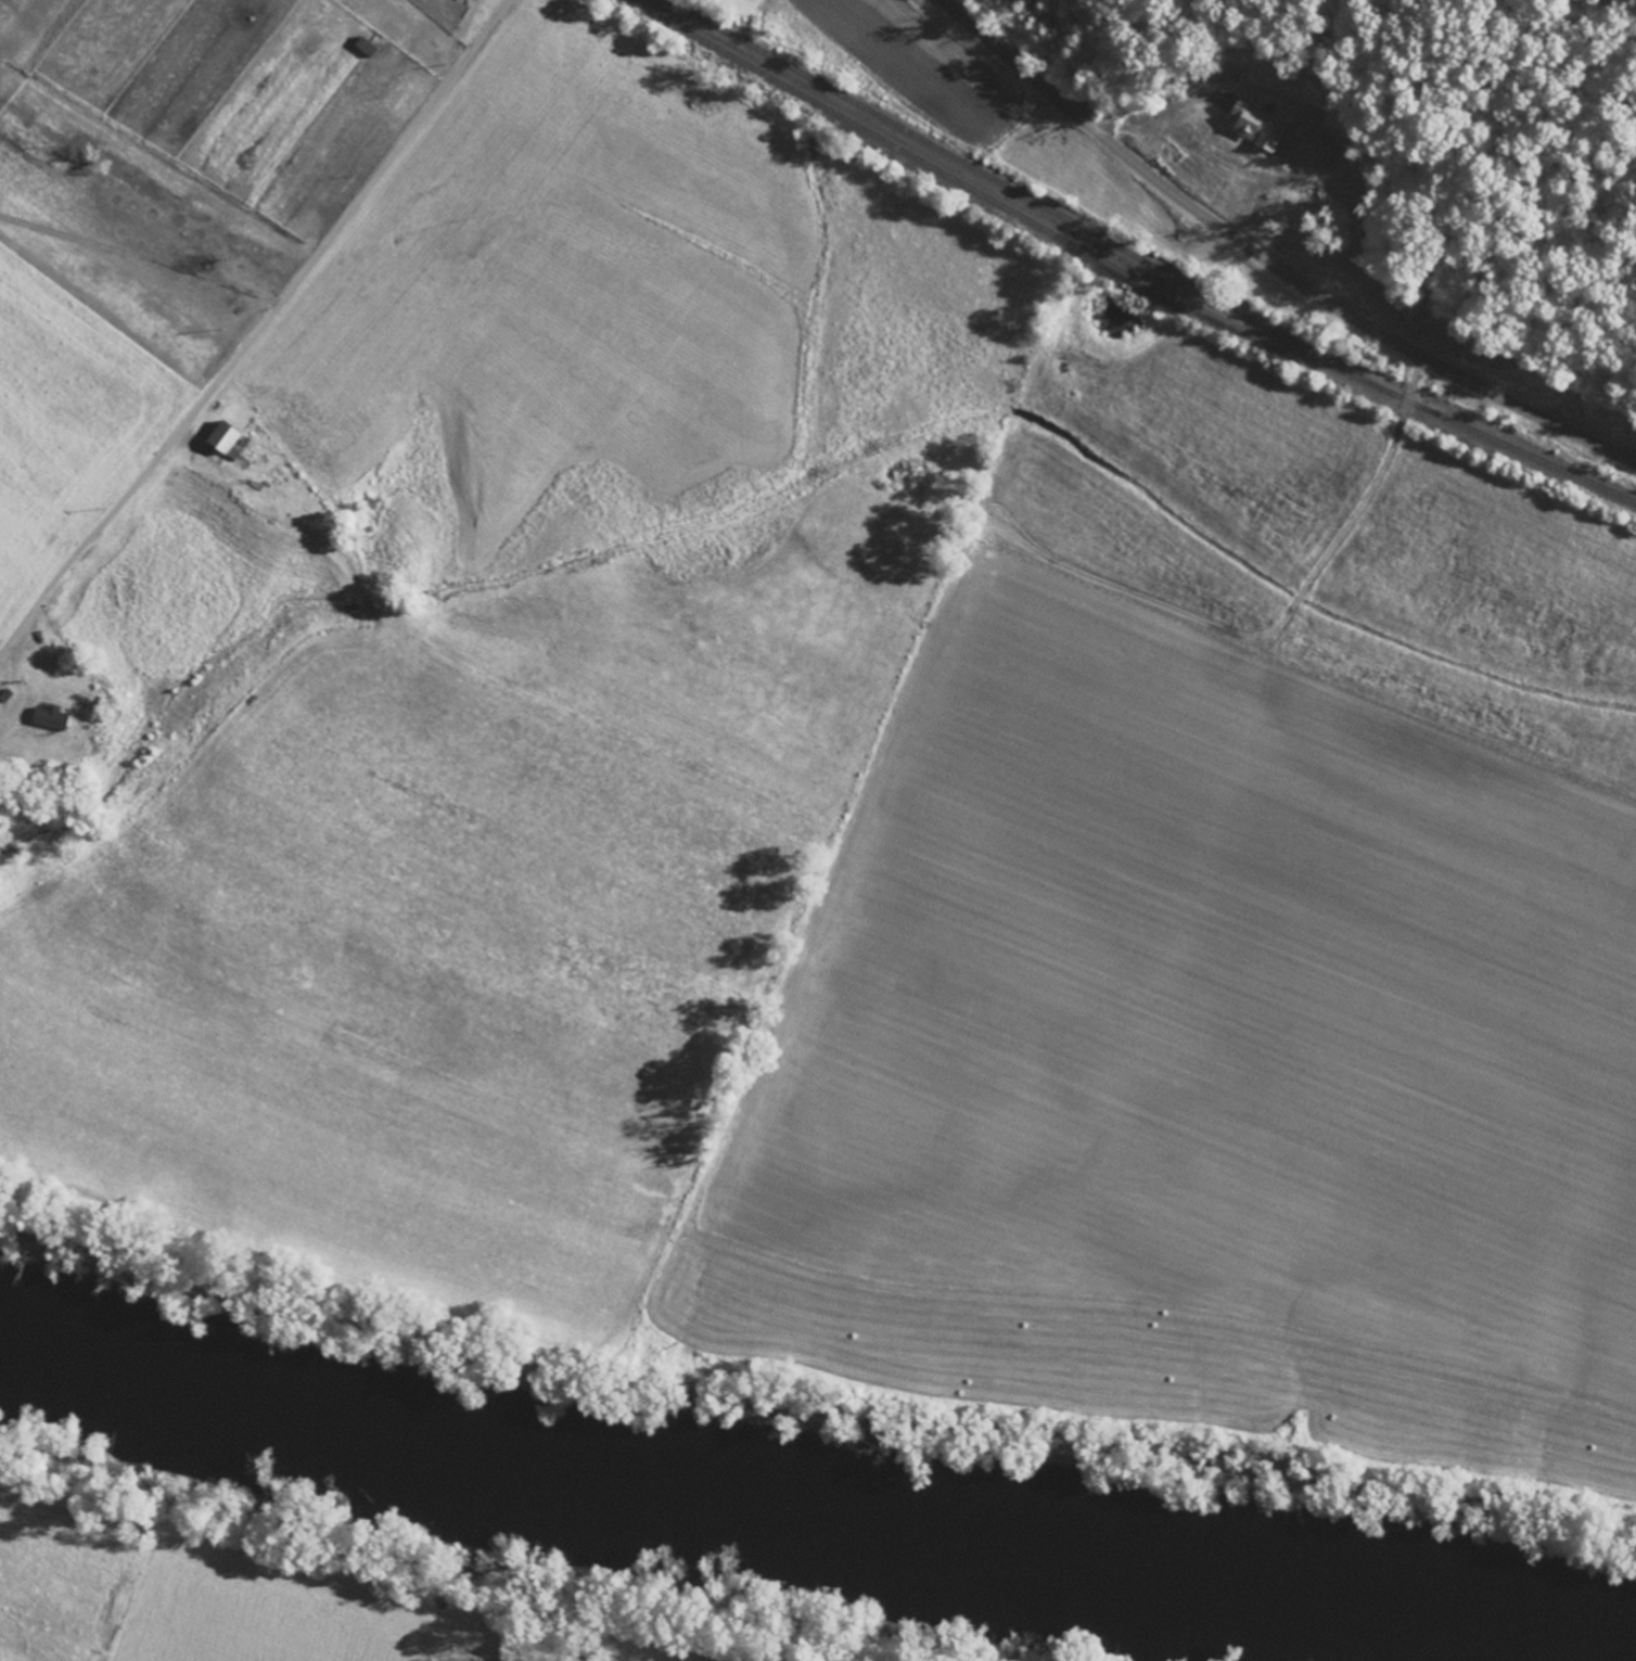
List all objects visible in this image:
building: (471, 0)
building: (1267, 125)
railway: (1009, 208)
road: (1269, 260)
railway: (1148, 263)
road: (282, 299)
building: (232, 436)
building: (56, 718)
river: (815, 1497)

